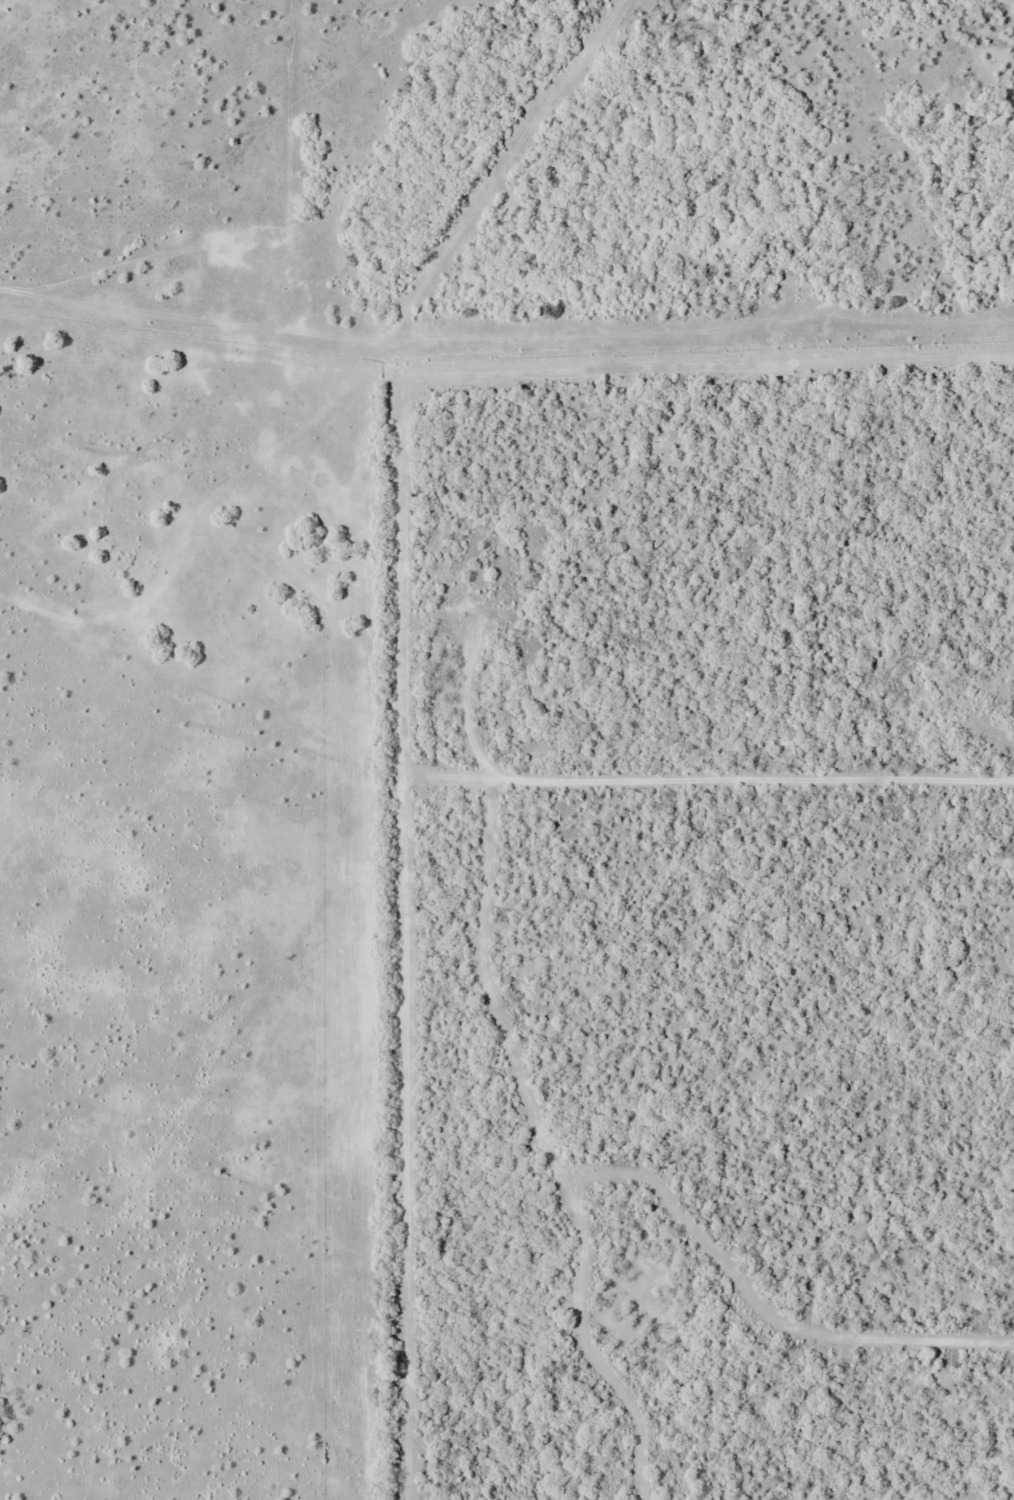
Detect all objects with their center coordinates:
road: (731, 775)

